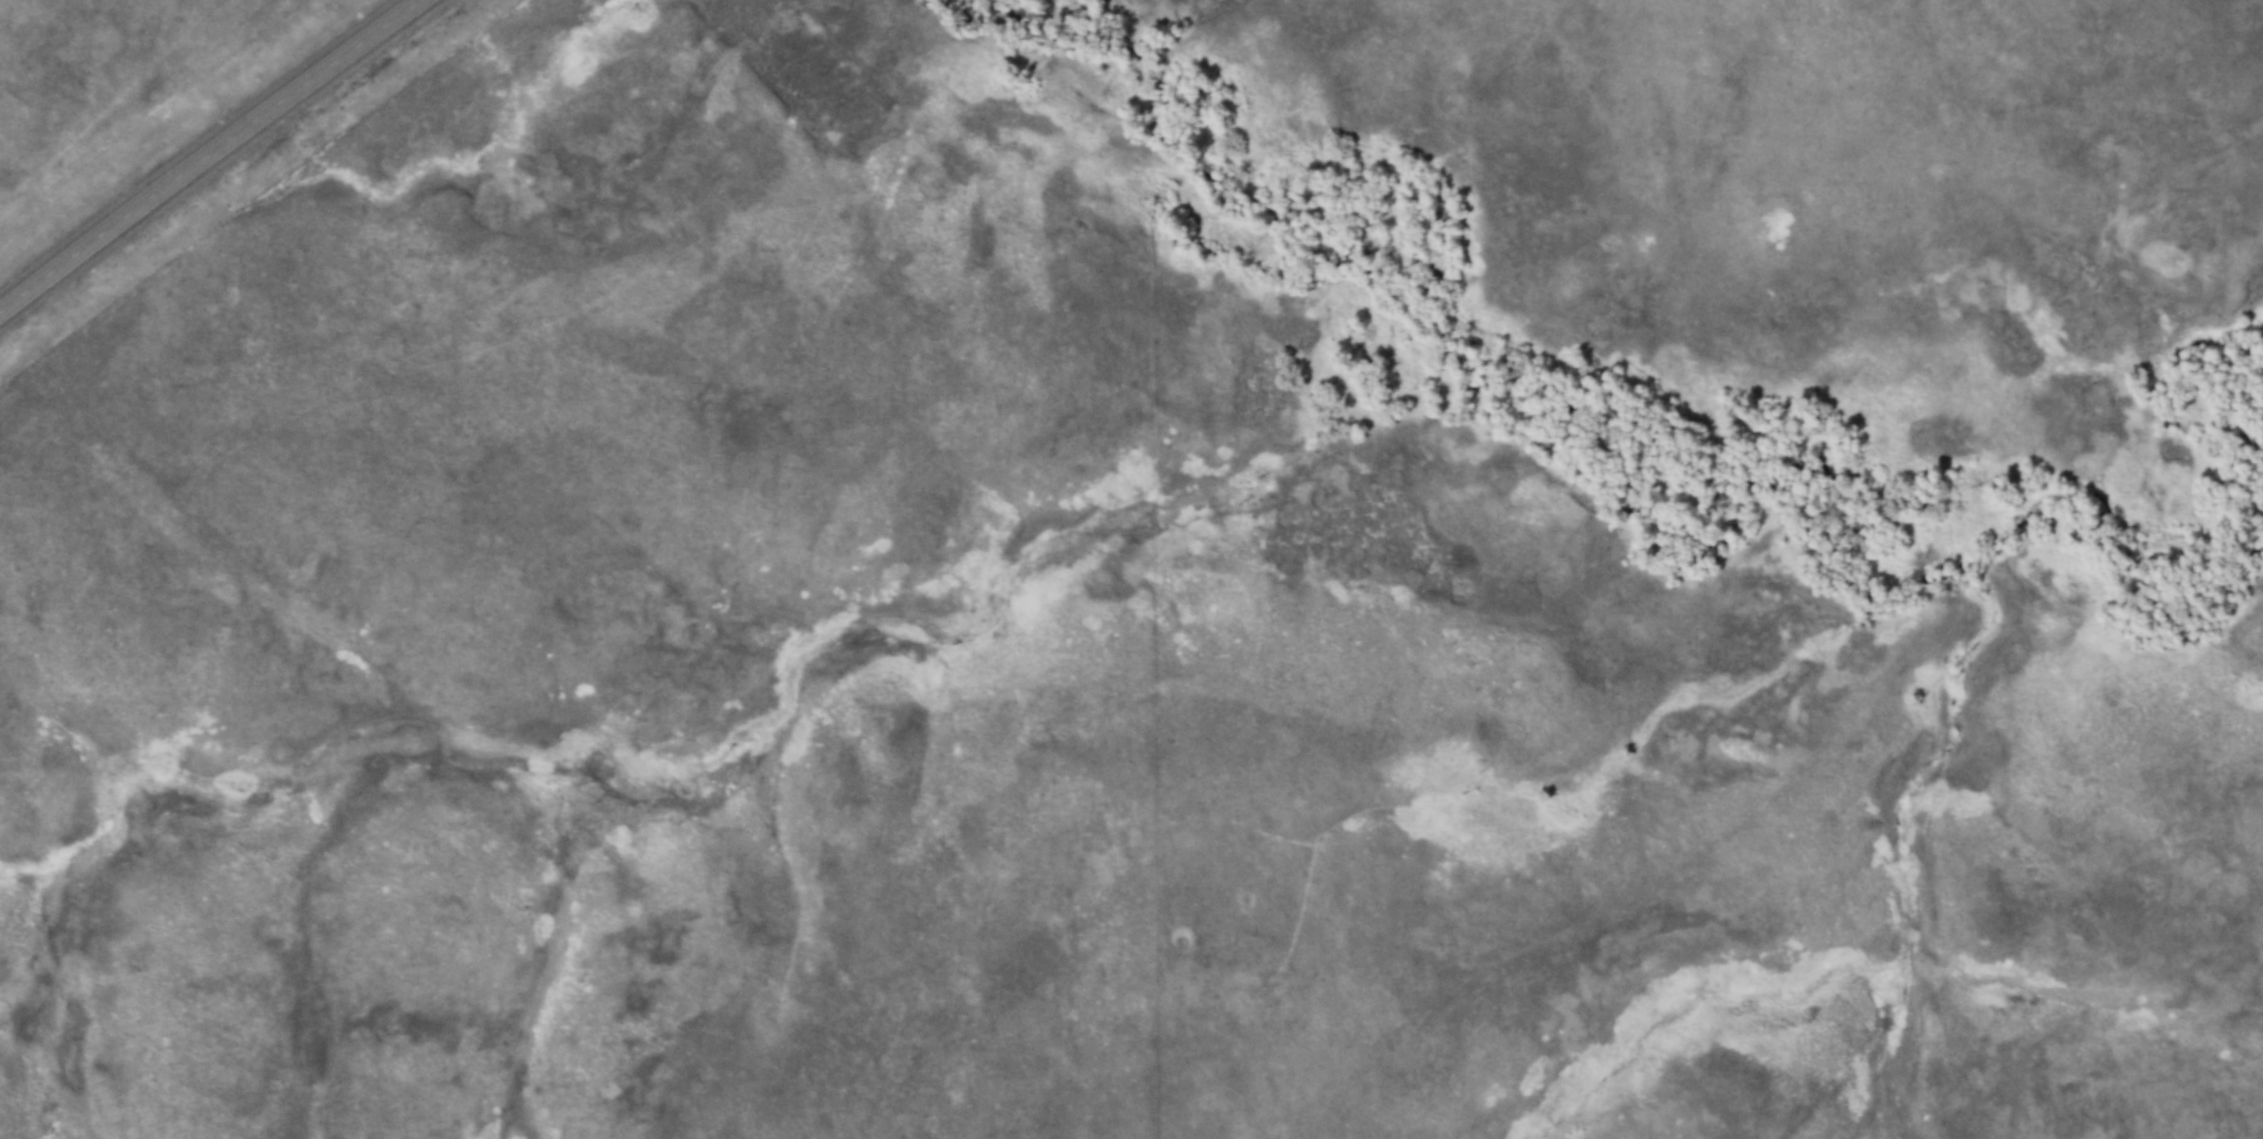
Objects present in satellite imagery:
road: (207, 151)

